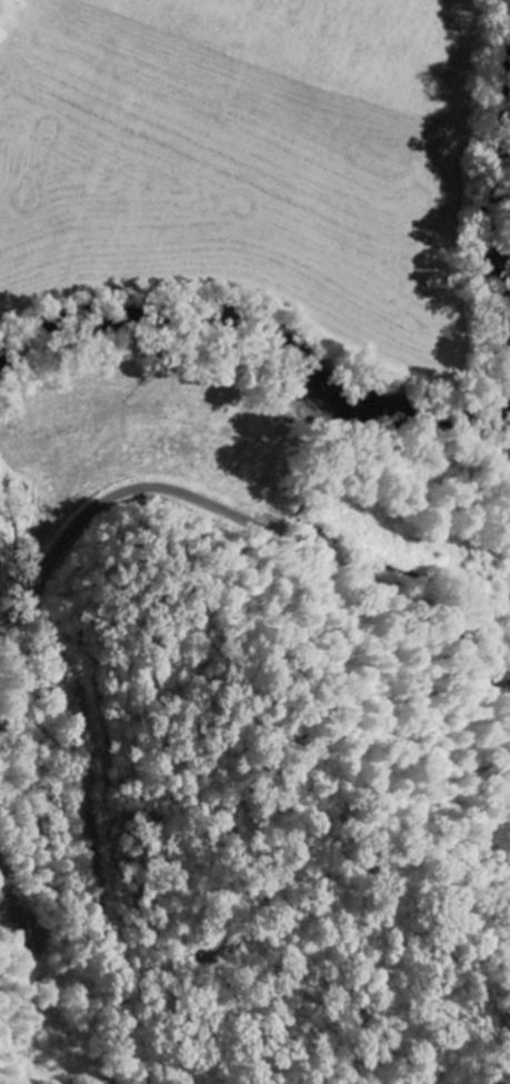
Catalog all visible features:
river: (504, 193)
river: (268, 336)
road: (252, 523)

